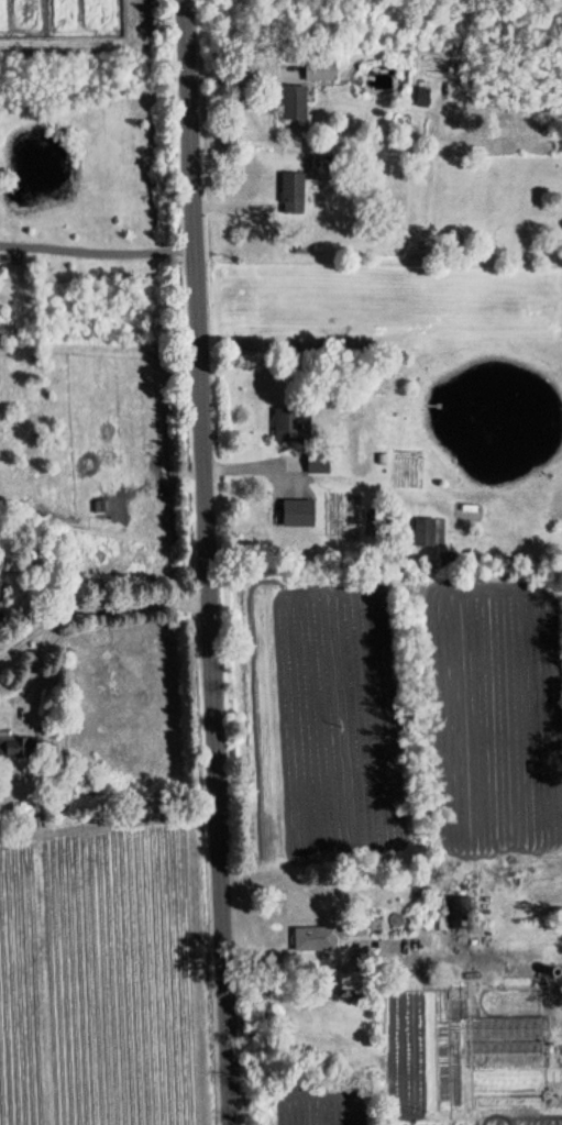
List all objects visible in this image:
building: (319, 69)
building: (421, 97)
building: (291, 102)
building: (290, 192)
road: (97, 245)
building: (289, 423)
building: (316, 463)
building: (296, 512)
building: (423, 531)
road: (207, 562)
road: (77, 610)
building: (18, 746)
building: (458, 909)
building: (322, 935)
road: (326, 967)

